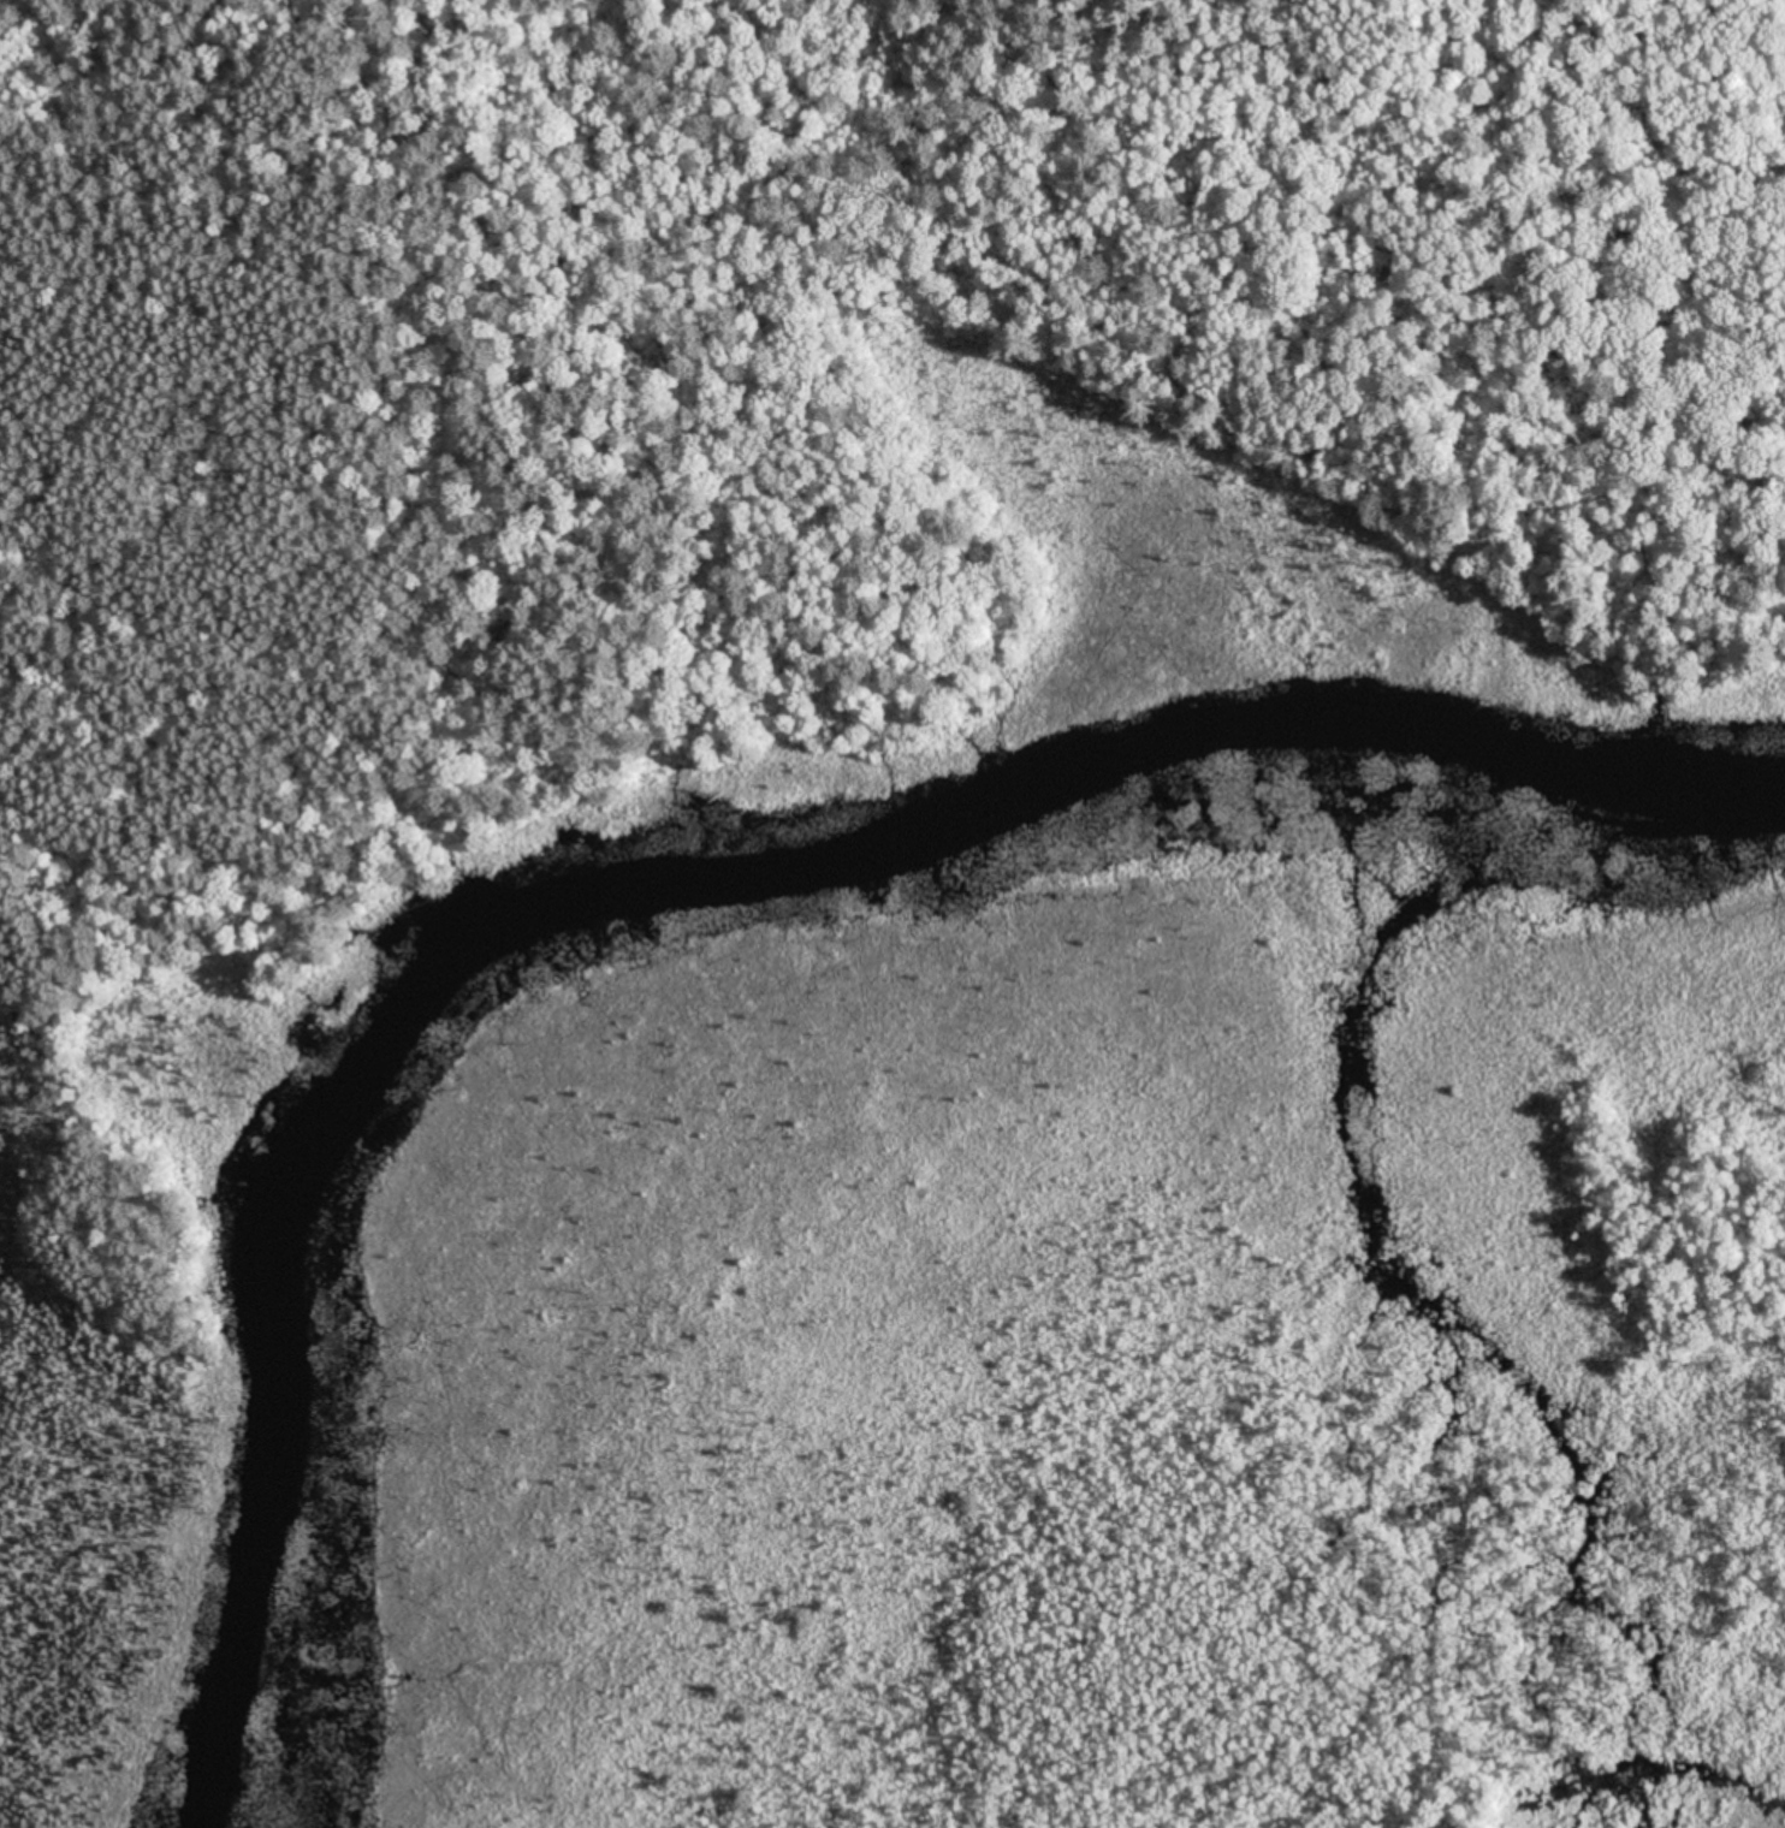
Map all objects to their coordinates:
river: (658, 884)

